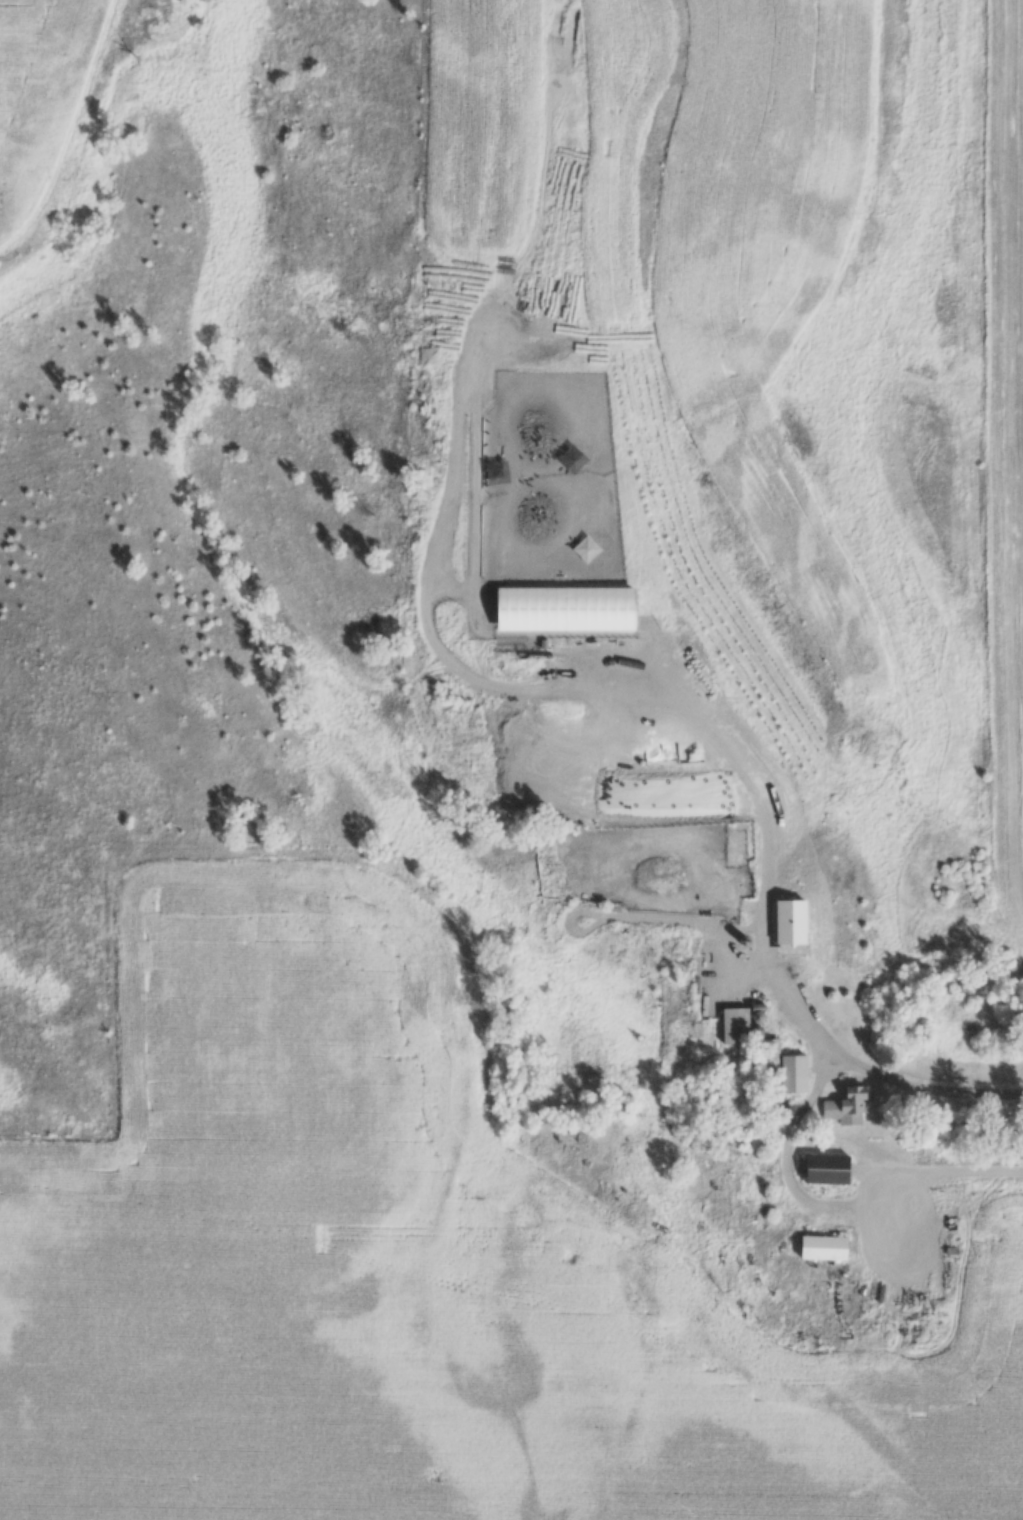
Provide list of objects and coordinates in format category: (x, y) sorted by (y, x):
building: (793, 921)
road: (764, 951)
building: (735, 1025)
building: (797, 1072)
building: (846, 1105)
building: (830, 1168)
road: (835, 1205)
building: (825, 1248)

